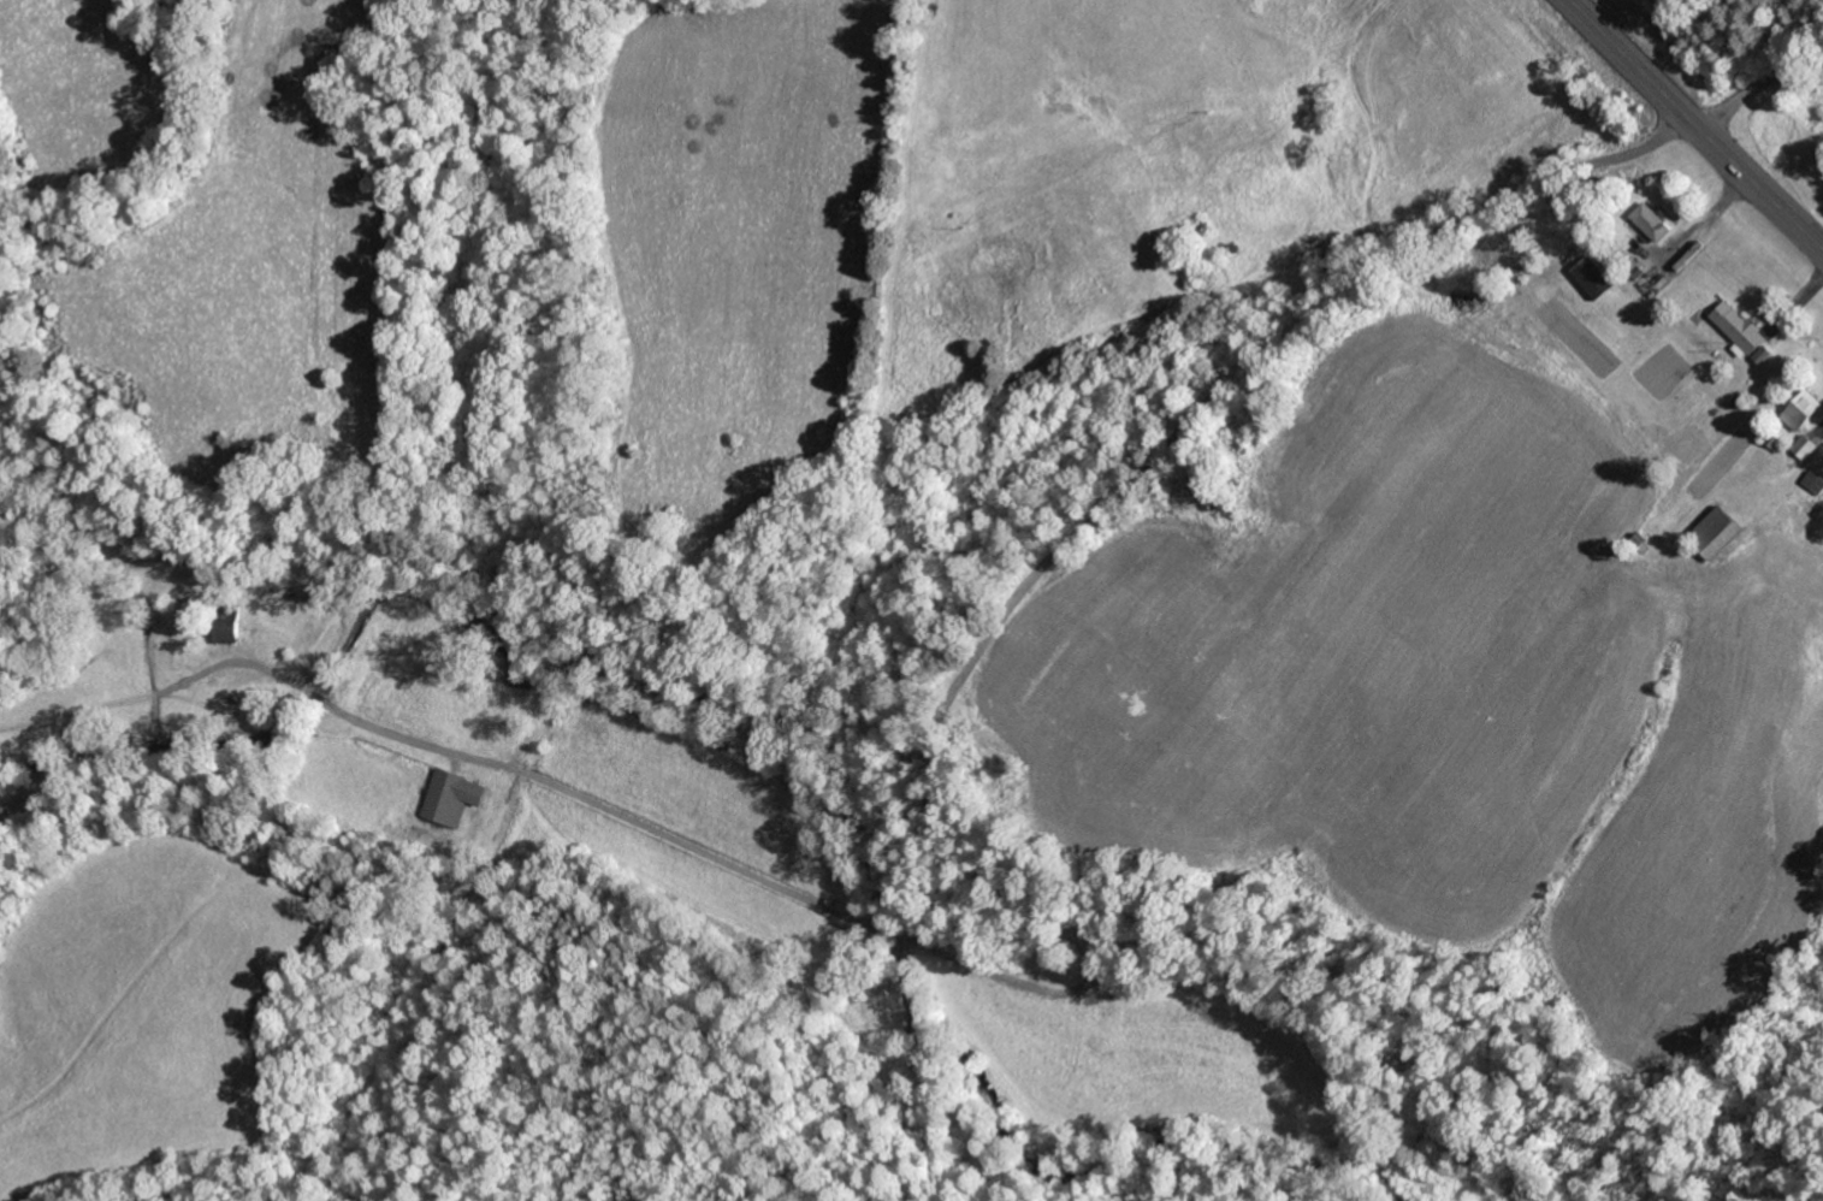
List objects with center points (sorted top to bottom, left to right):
road: (1758, 88)
road: (1698, 125)
building: (1655, 221)
building: (1597, 277)
building: (1742, 331)
building: (1805, 410)
building: (1809, 446)
building: (1815, 481)
building: (1721, 532)
road: (1070, 540)
building: (455, 797)

